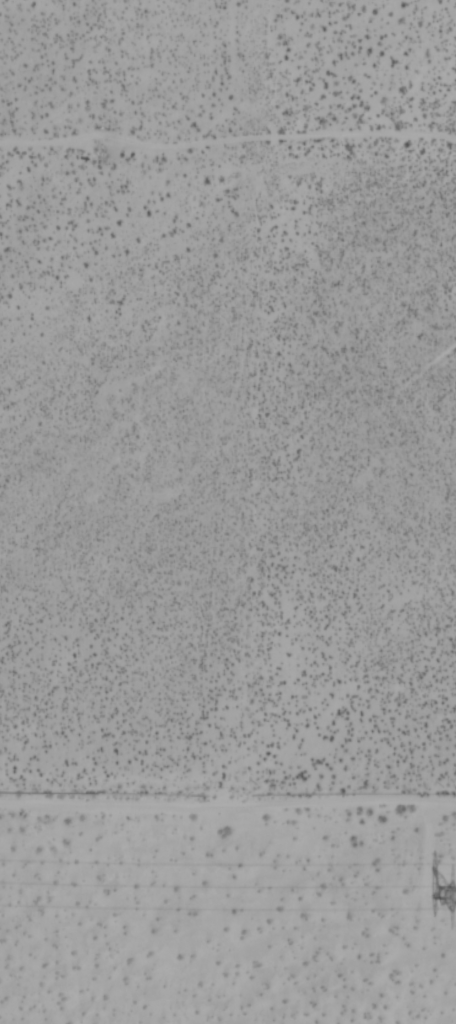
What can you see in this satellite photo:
power tower: (452, 896)

